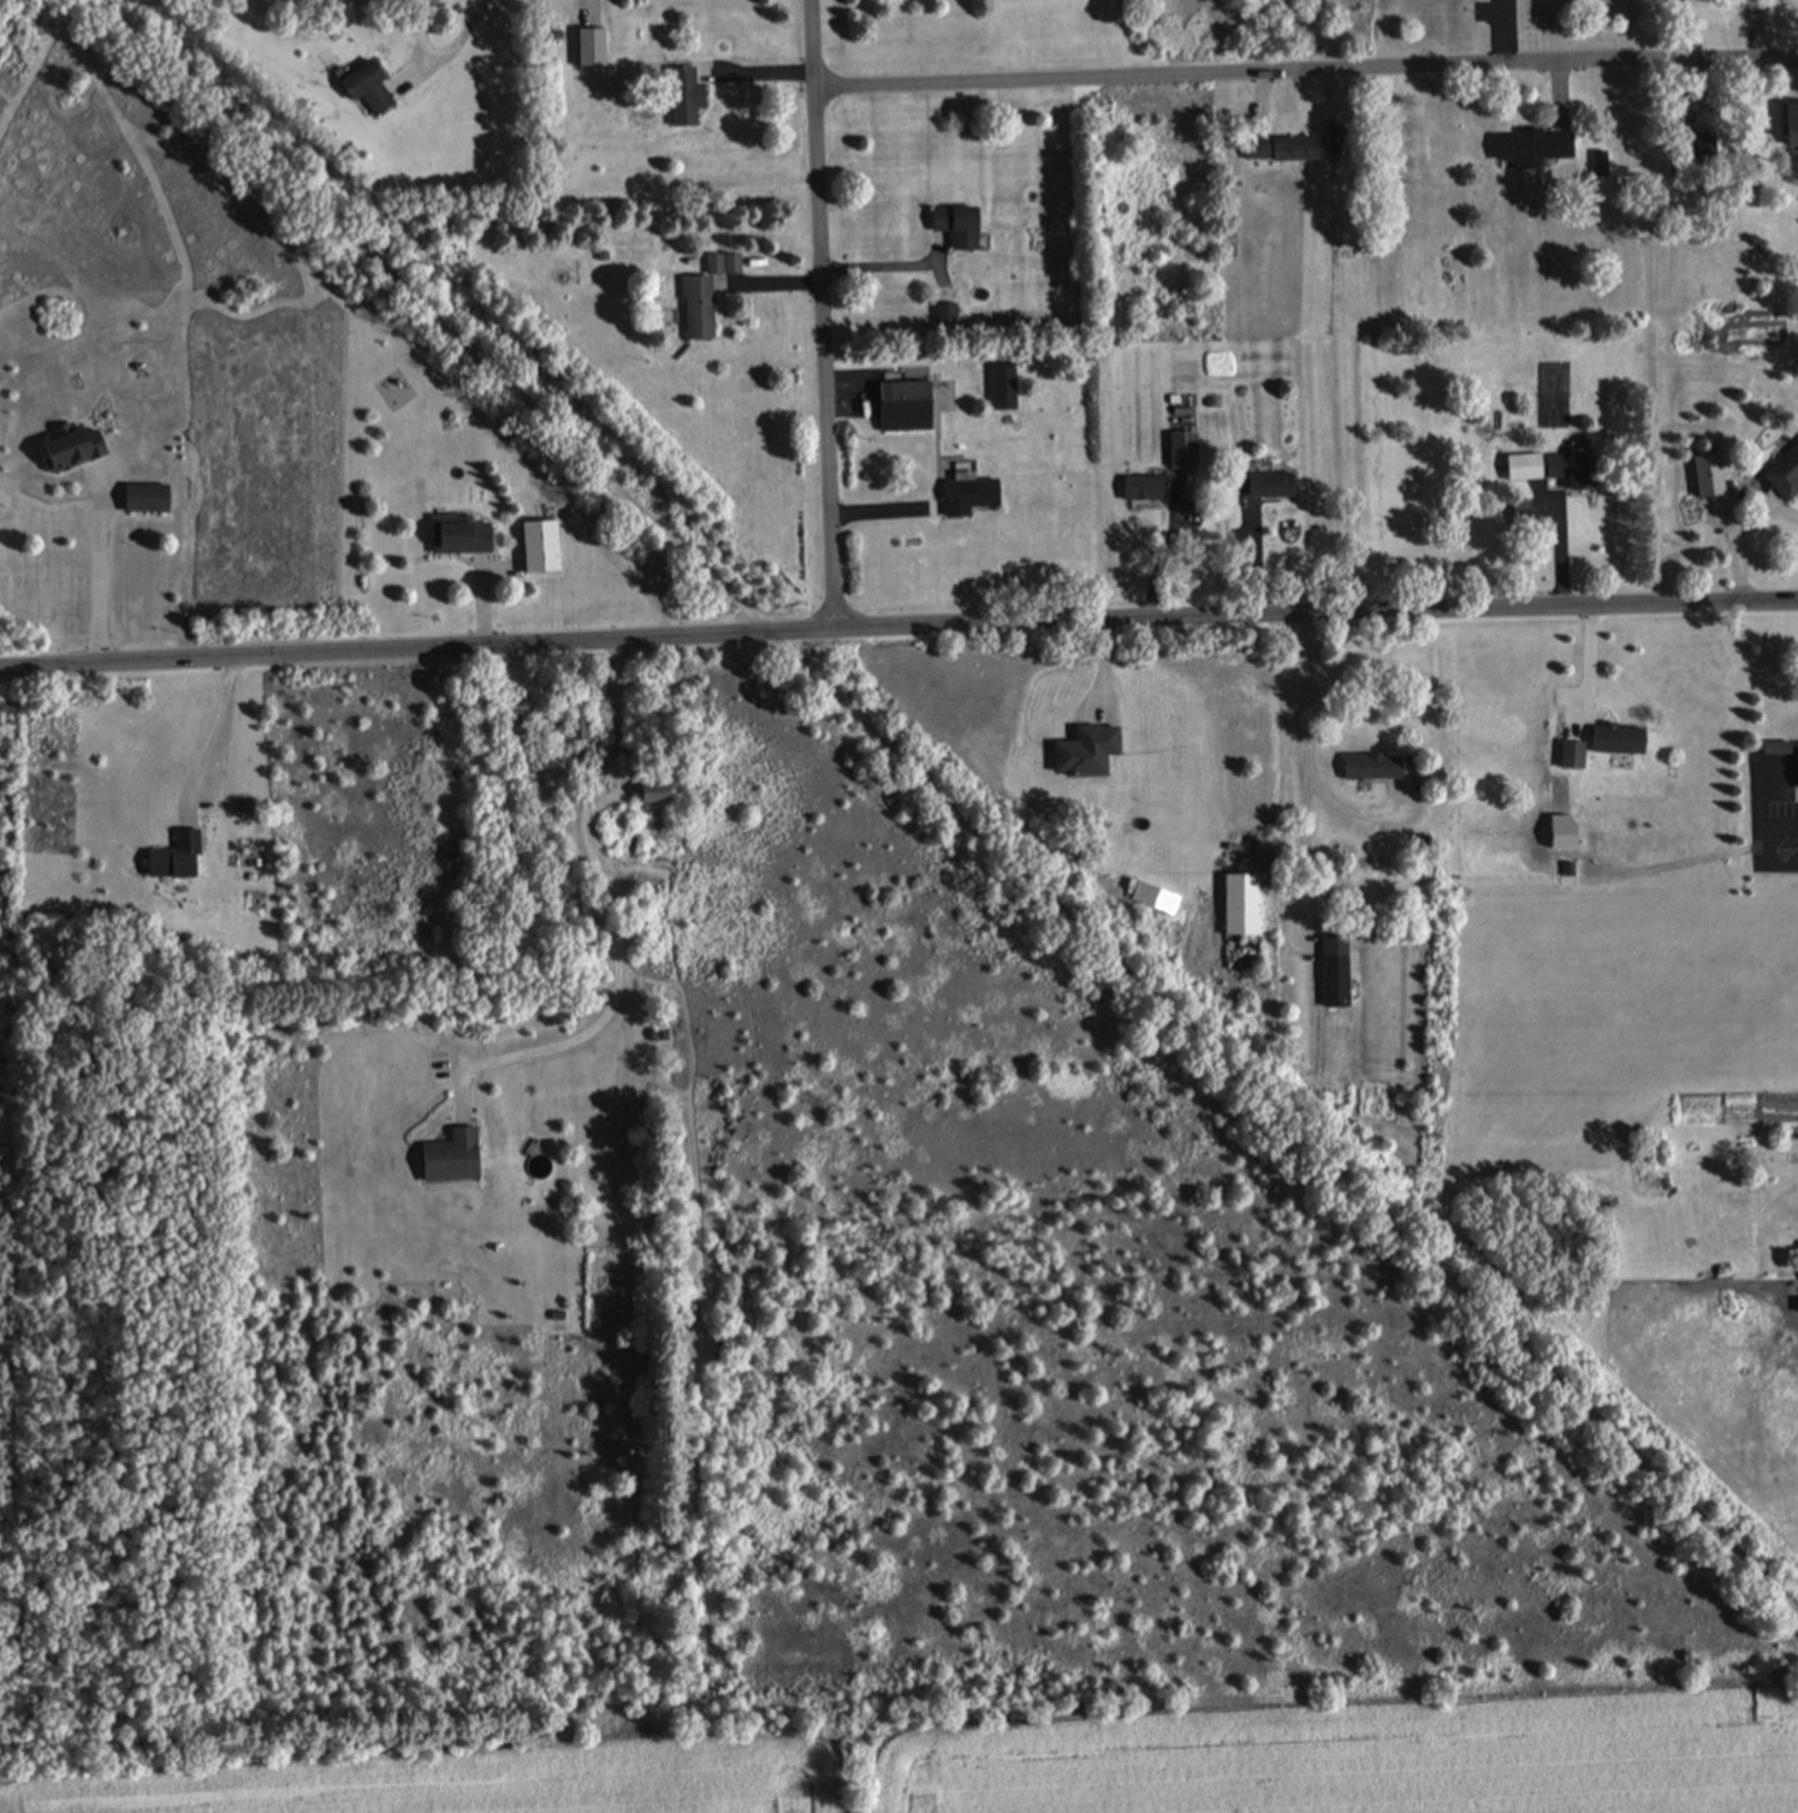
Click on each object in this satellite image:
road: (589, 11)
road: (1755, 28)
road: (1500, 32)
building: (588, 44)
road: (441, 52)
road: (1306, 69)
road: (759, 75)
road: (1794, 77)
road: (1702, 79)
building: (367, 87)
building: (682, 94)
road: (1559, 94)
road: (1258, 100)
road: (1333, 102)
building: (1703, 118)
building: (1791, 124)
building: (1531, 144)
building: (1284, 147)
building: (1597, 161)
building: (955, 225)
road: (936, 255)
building: (722, 262)
road: (890, 267)
road: (770, 283)
building: (695, 304)
road: (823, 314)
building: (945, 314)
building: (1002, 384)
building: (903, 405)
building: (67, 446)
building: (1182, 447)
building: (1571, 465)
building: (1521, 466)
building: (1782, 474)
building: (1271, 485)
building: (1143, 487)
building: (966, 493)
building: (144, 498)
road: (883, 510)
building: (1519, 515)
road: (1737, 530)
building: (458, 534)
building: (538, 545)
road: (1168, 546)
road: (1559, 552)
road: (1254, 559)
road: (100, 561)
road: (497, 570)
road: (481, 601)
road: (898, 625)
road: (1589, 667)
building: (1153, 725)
building: (575, 727)
road: (1117, 737)
road: (214, 738)
building: (1616, 739)
building: (1569, 754)
building: (1797, 765)
building: (1371, 766)
road: (1309, 785)
building: (652, 790)
road: (1760, 792)
road: (1779, 795)
road: (953, 804)
parking lot: (1774, 809)
road: (1349, 813)
road: (1779, 825)
building: (622, 840)
building: (1424, 840)
road: (1761, 844)
building: (173, 856)
road: (1780, 866)
building: (1567, 878)
building: (1155, 897)
building: (1240, 904)
road: (615, 922)
building: (1334, 971)
building: (657, 1034)
building: (449, 1155)
building: (1797, 1304)

